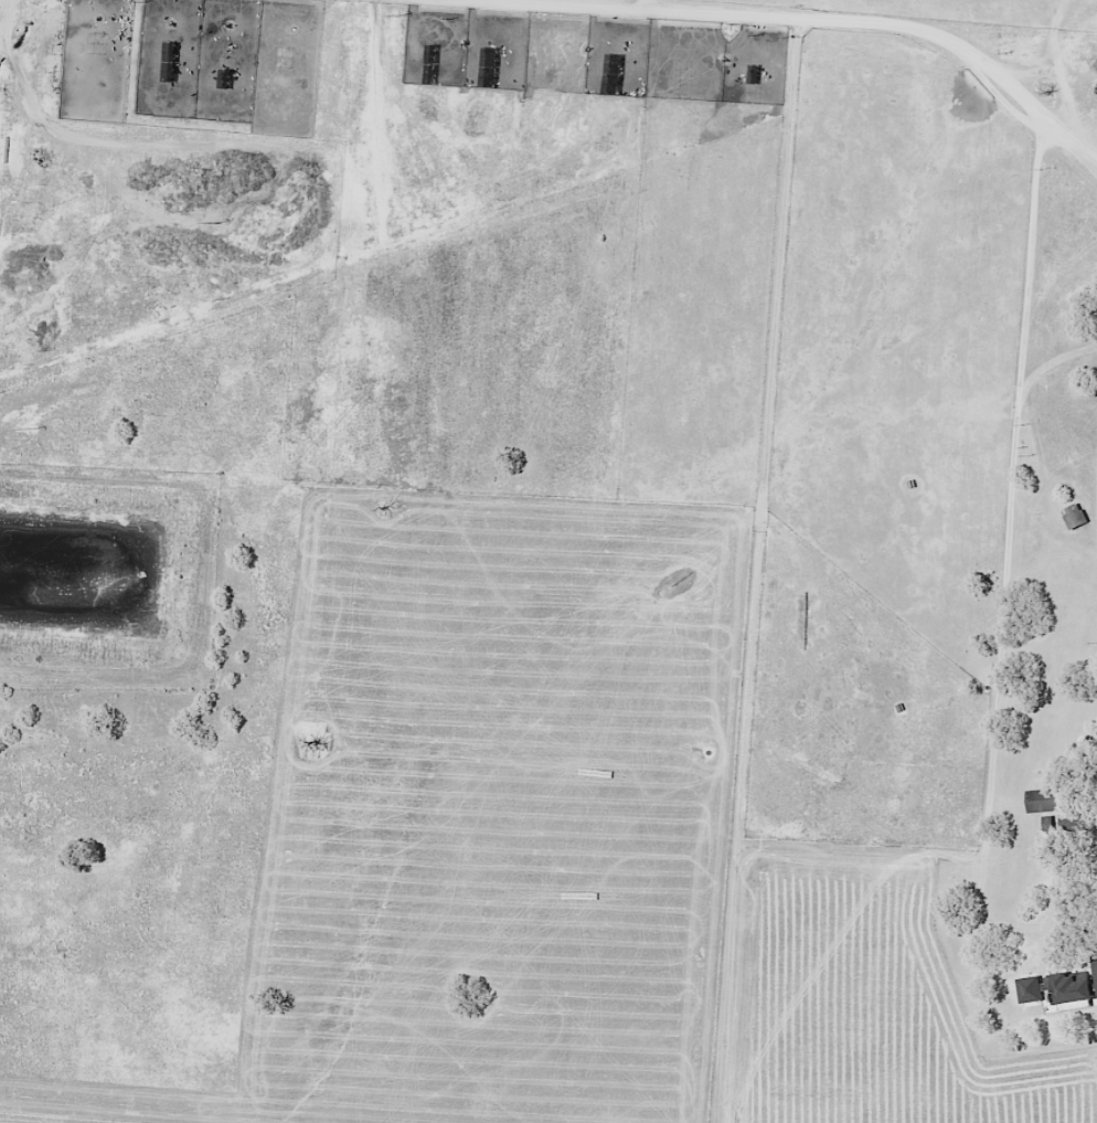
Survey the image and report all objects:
road: (643, 3)
power tower: (401, 14)
road: (831, 18)
building: (489, 56)
road: (30, 118)
road: (1085, 157)
power tower: (217, 222)
road: (1056, 358)
power tower: (34, 428)
road: (1096, 481)
road: (1010, 511)
building: (1075, 516)
building: (1045, 802)
road: (1022, 930)
road: (830, 954)
building: (1095, 970)
building: (1055, 988)

